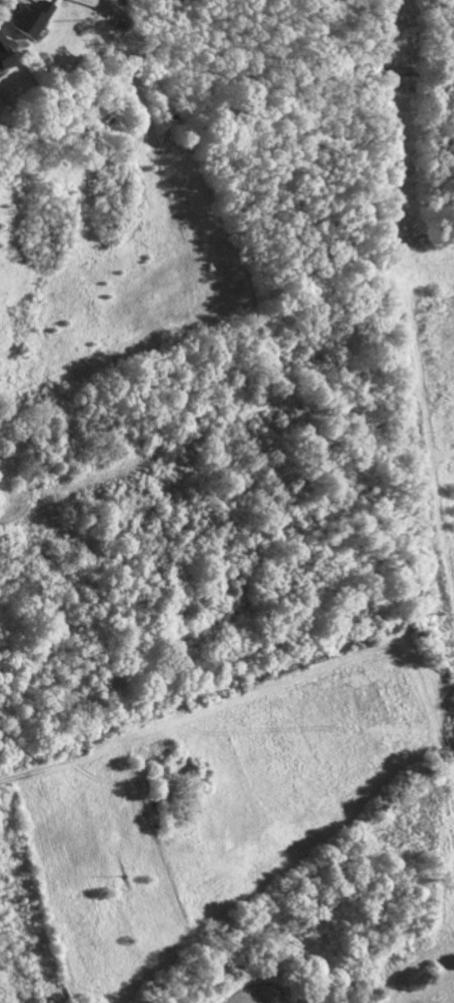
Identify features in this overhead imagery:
building: (26, 19)
building: (2, 55)

